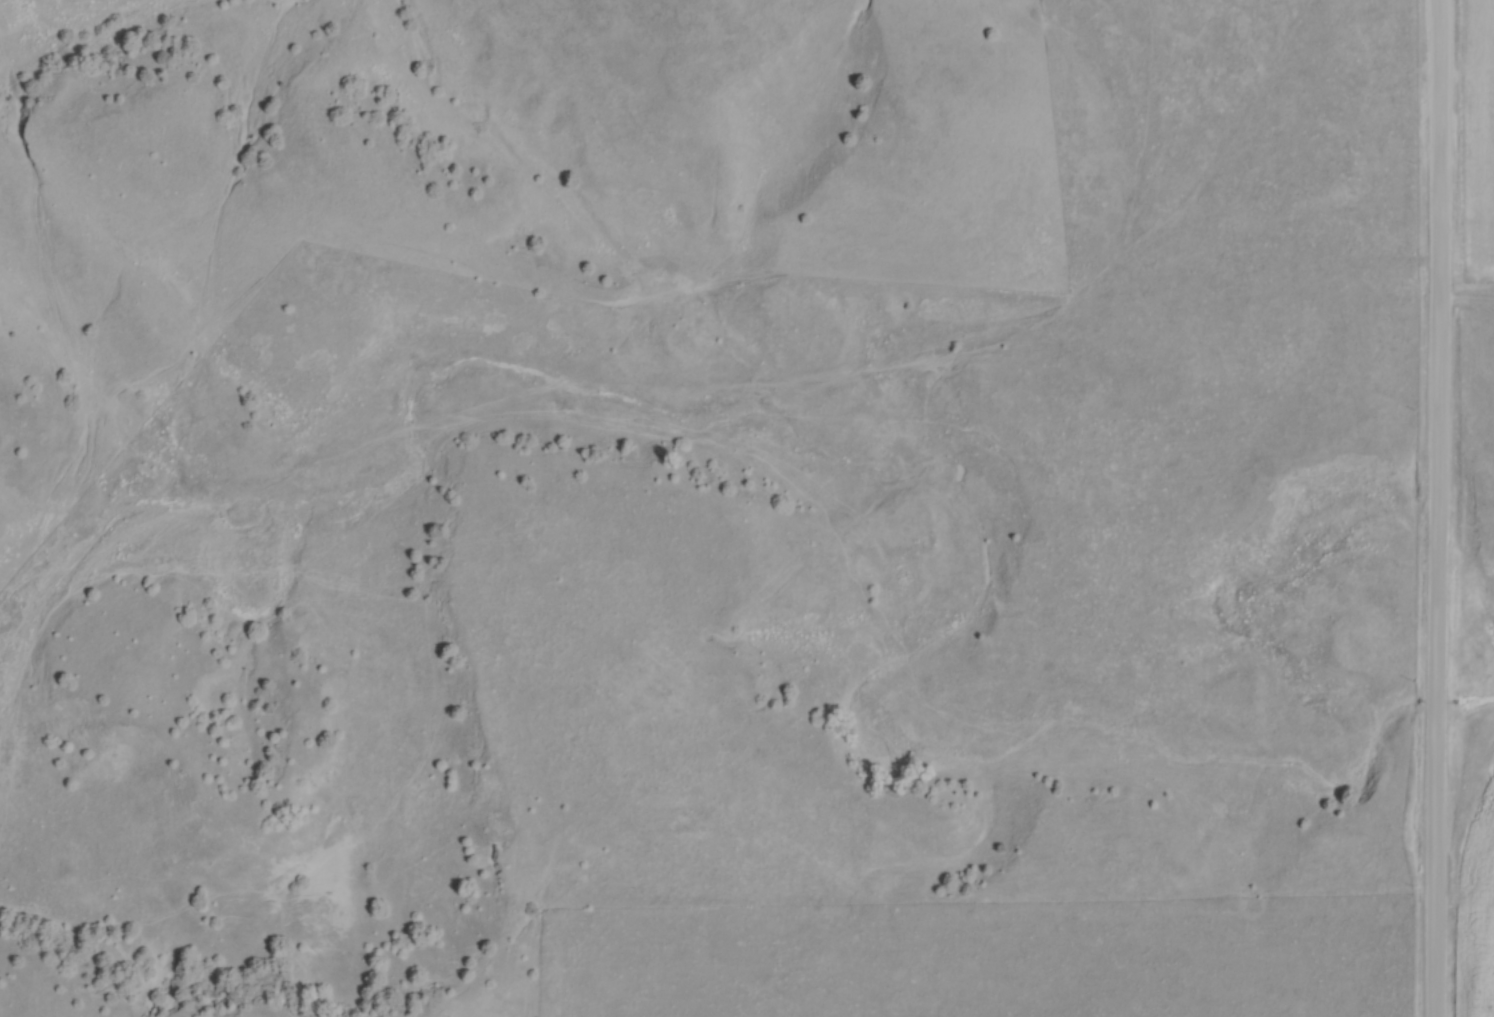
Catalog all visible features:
road: (1437, 508)

